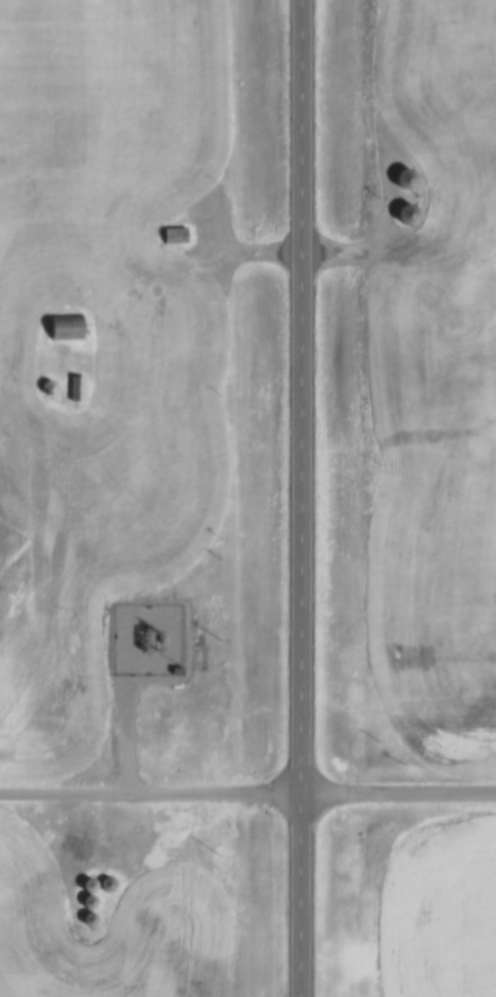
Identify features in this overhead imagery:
building: (410, 179)
building: (412, 215)
building: (178, 235)
building: (70, 326)
building: (80, 388)
road: (297, 498)
power substation: (152, 639)
road: (247, 785)

